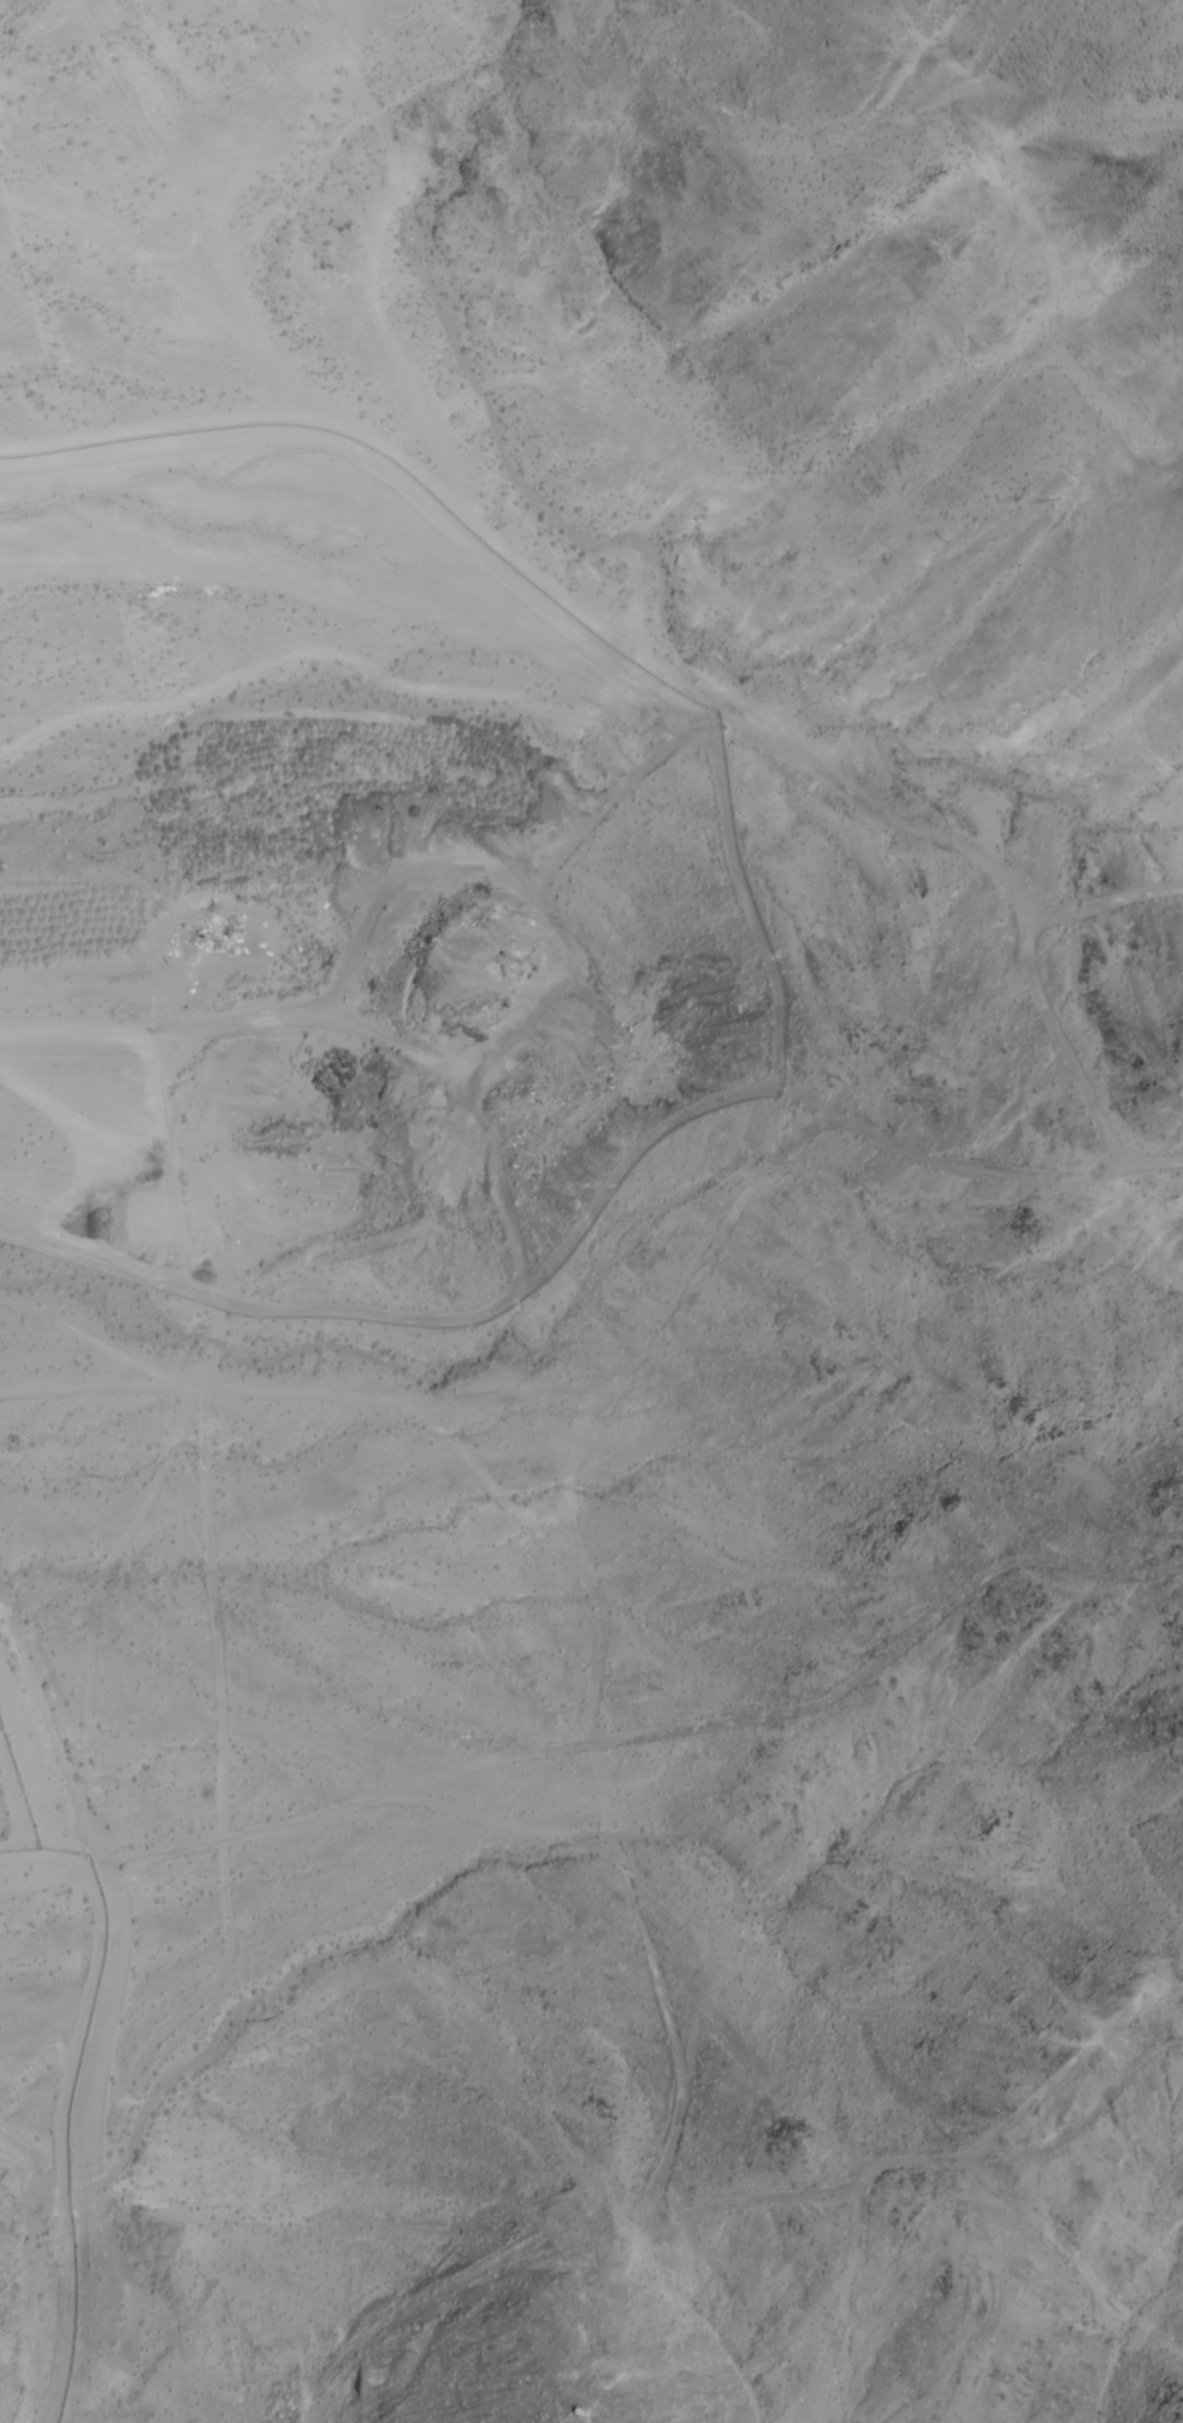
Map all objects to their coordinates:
road: (1019, 905)
road: (1102, 905)
road: (845, 2183)

